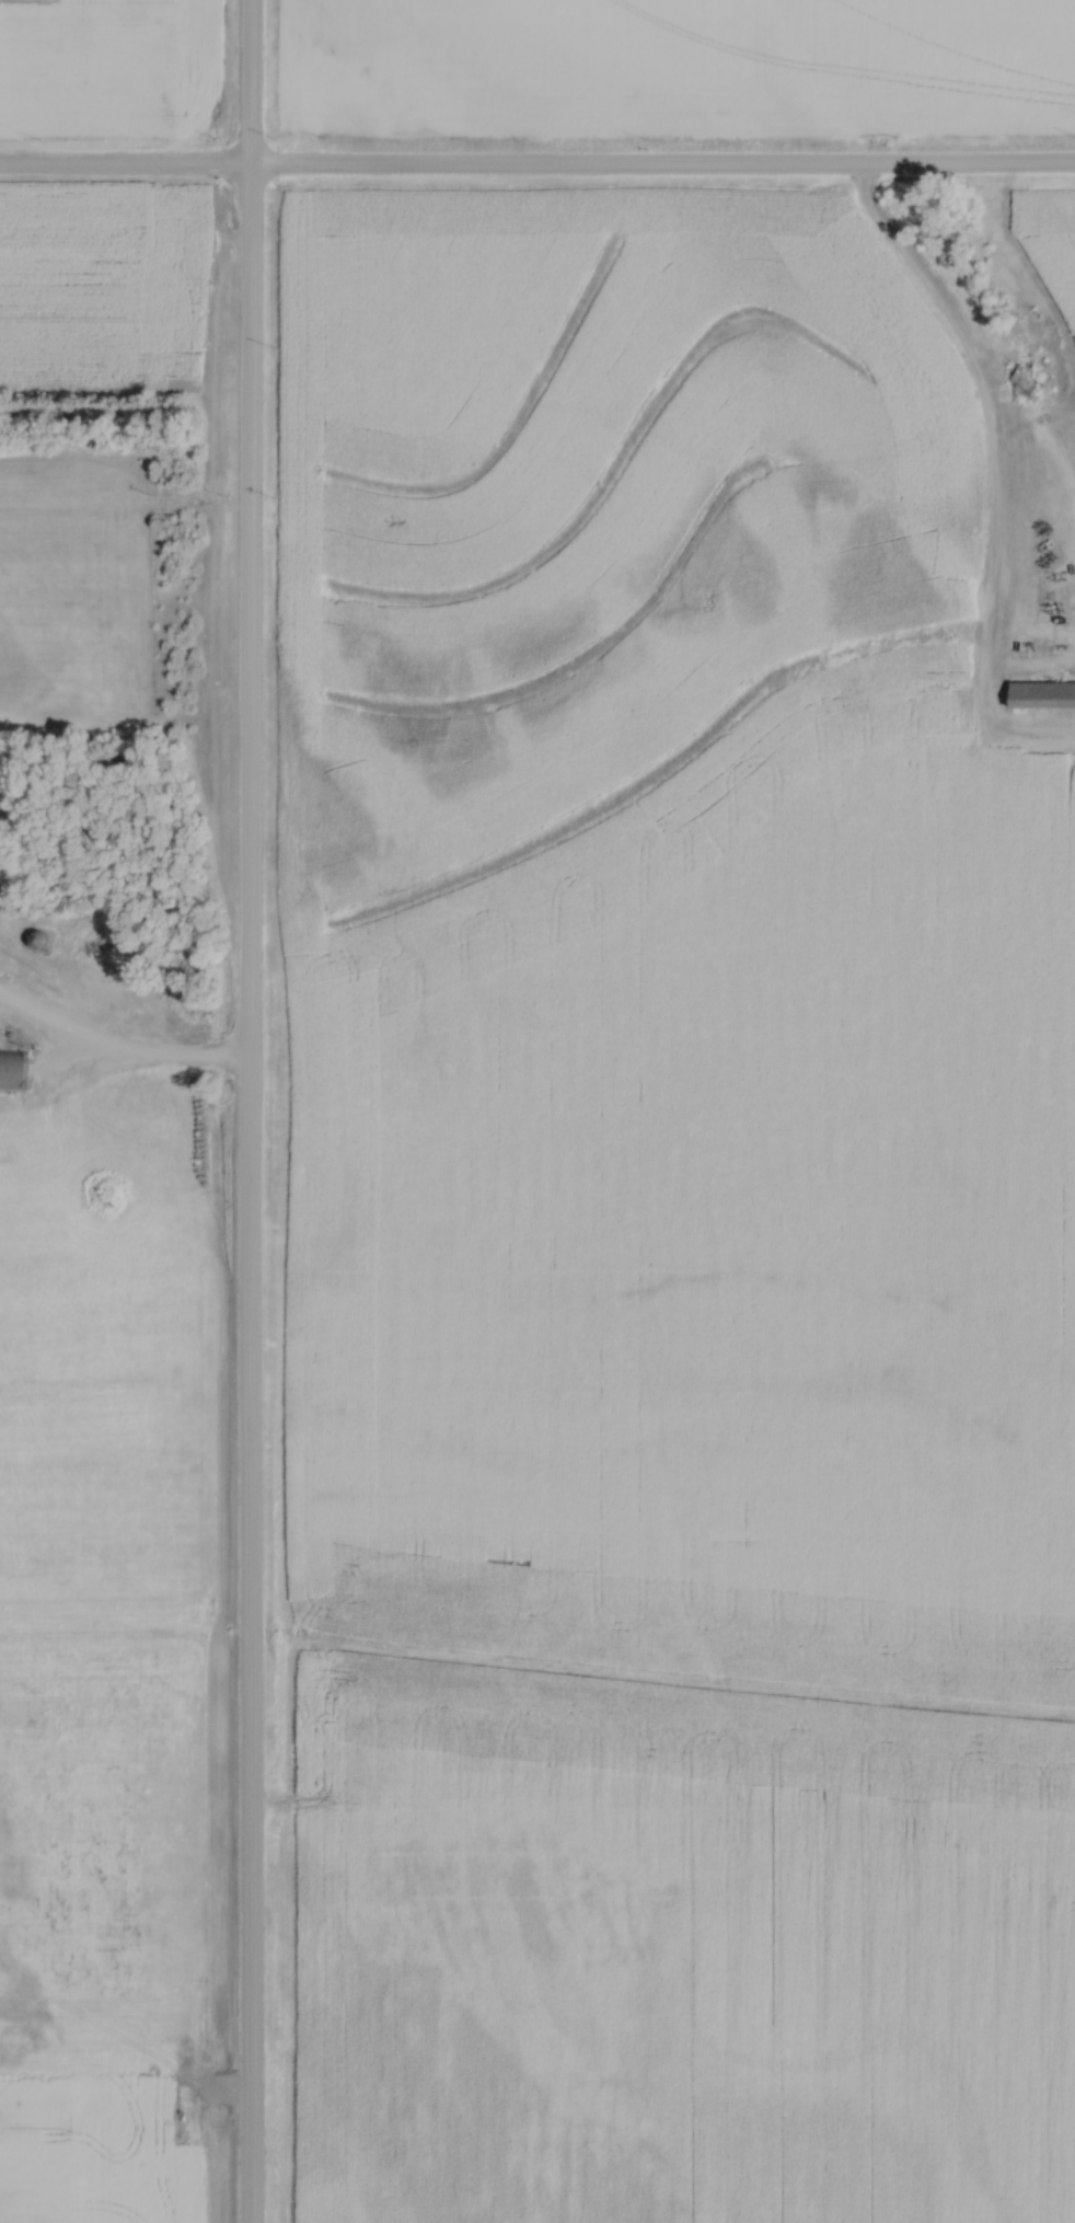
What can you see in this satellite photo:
road: (415, 104)
road: (536, 169)
road: (983, 414)
building: (1043, 698)
building: (1004, 820)
building: (1, 934)
building: (139, 1013)
road: (137, 1056)
building: (14, 1072)
road: (250, 1111)

